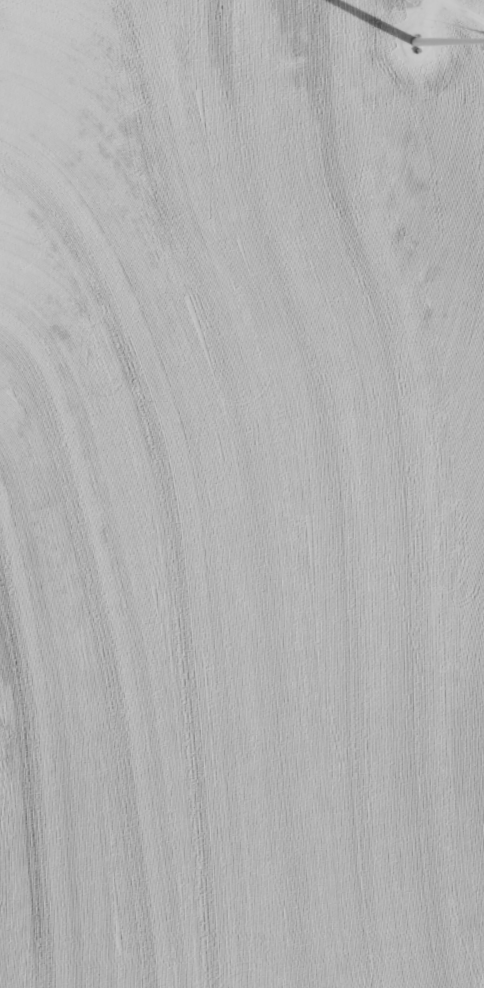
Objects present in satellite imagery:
road: (461, 13)
wind turbine: (416, 59)

